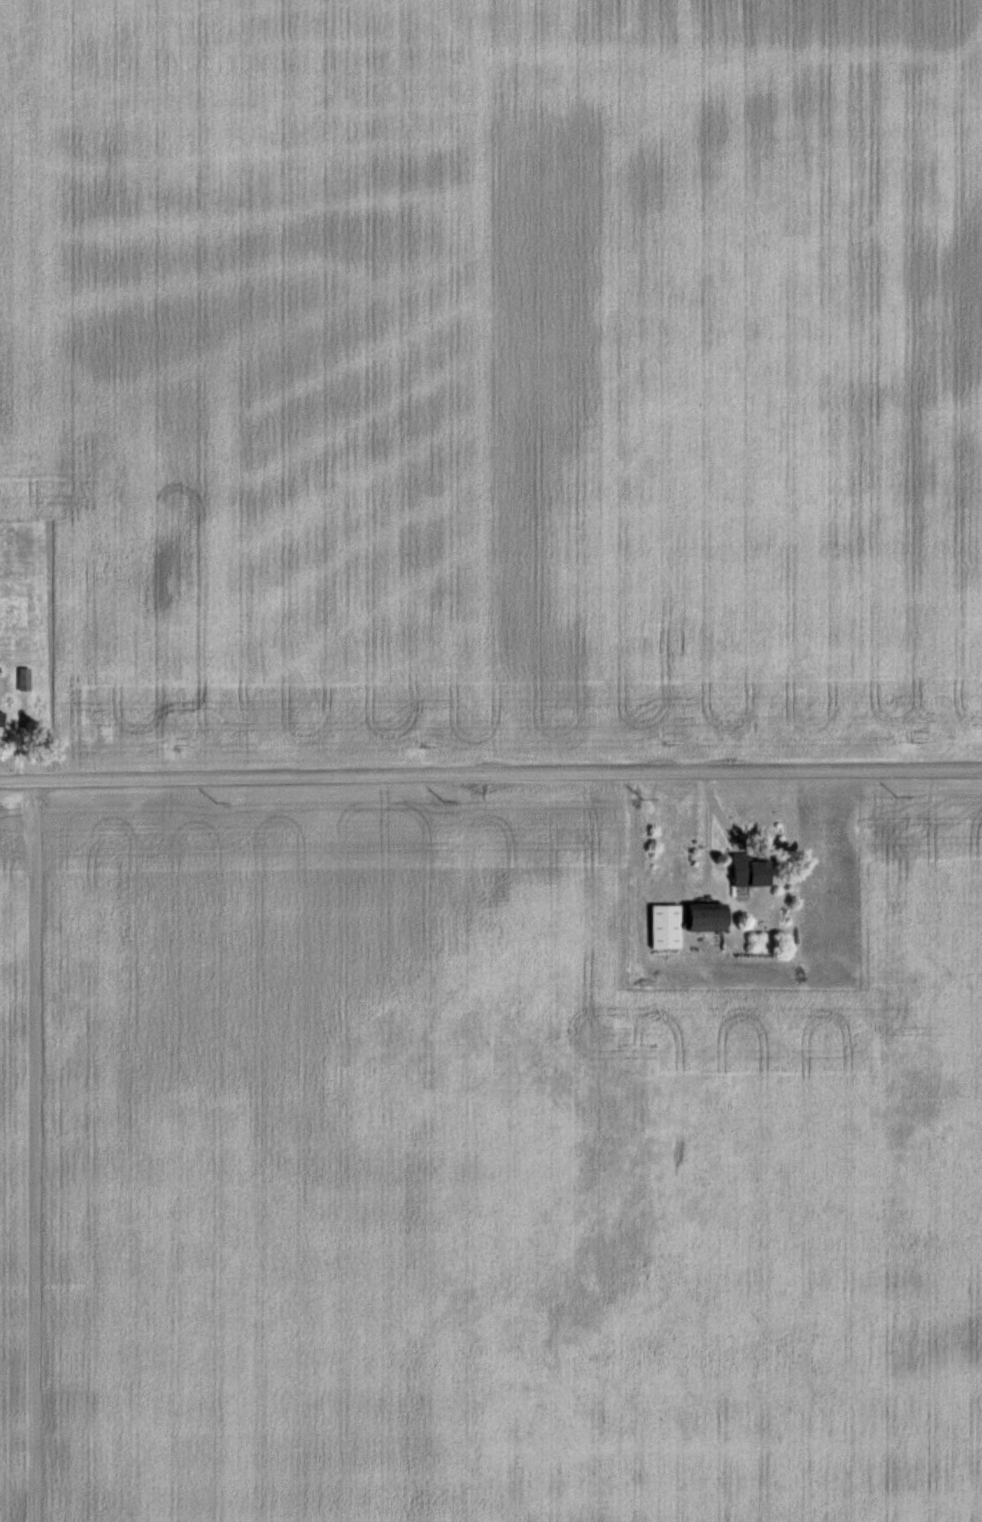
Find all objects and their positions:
building: (24, 678)
building: (1, 716)
road: (491, 776)
building: (749, 871)
building: (707, 916)
building: (665, 925)
road: (15, 1150)

